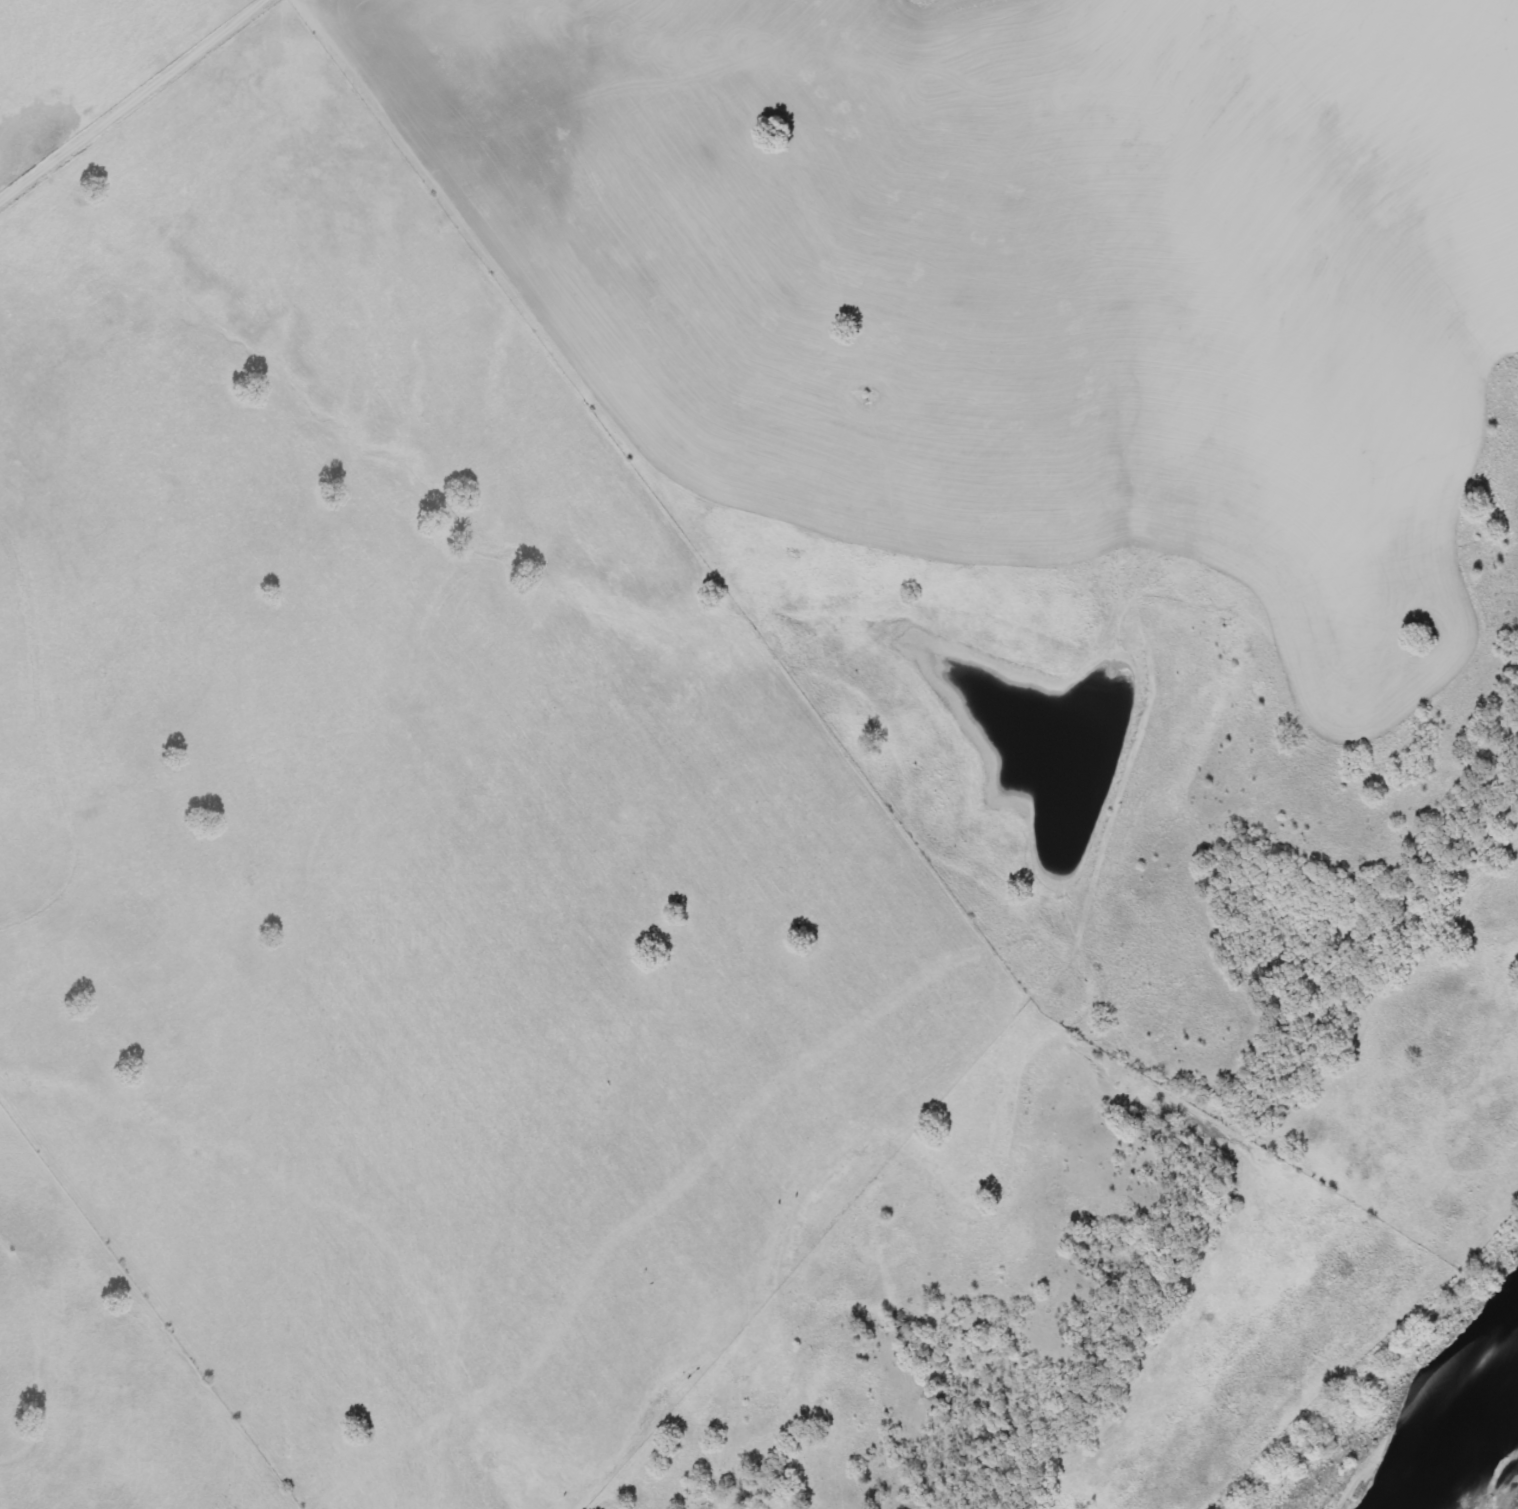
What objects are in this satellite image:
river: (1456, 1422)

